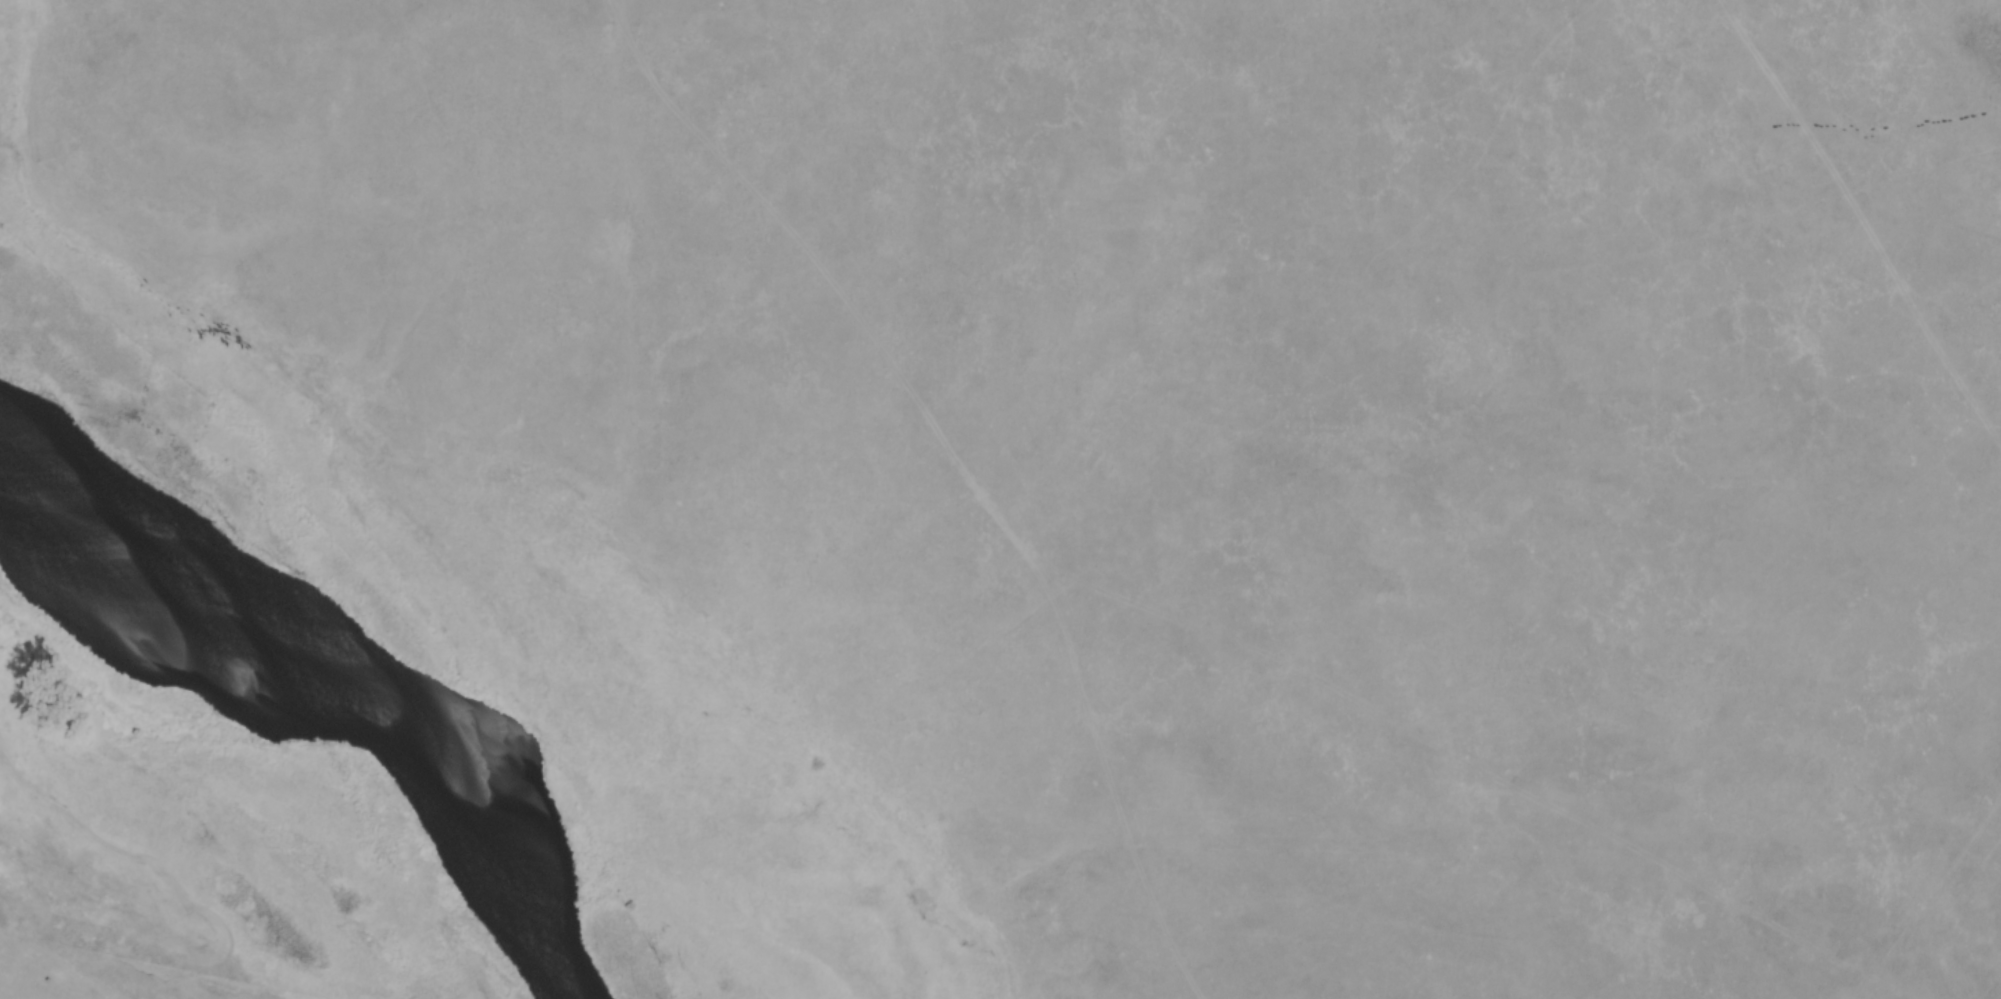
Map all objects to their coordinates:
river: (355, 648)

